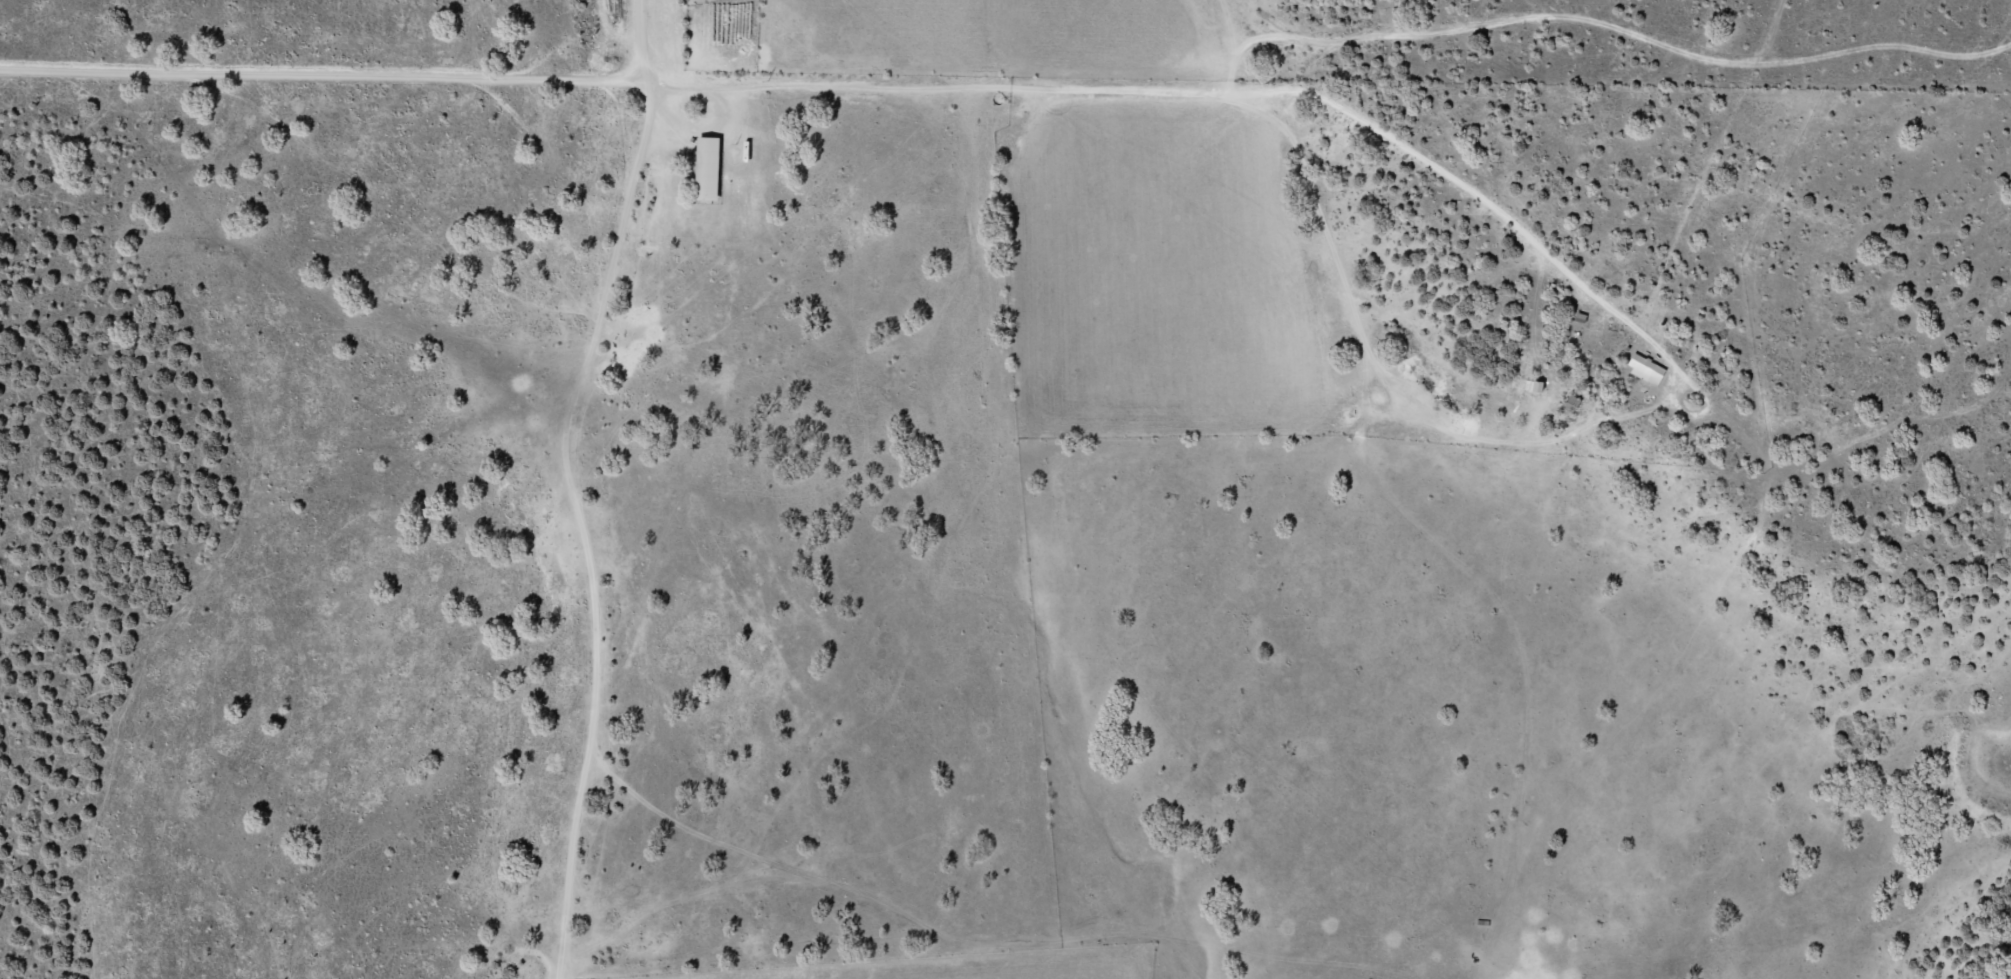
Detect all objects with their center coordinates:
road: (1606, 25)
road: (323, 74)
road: (1189, 86)
building: (1647, 371)

